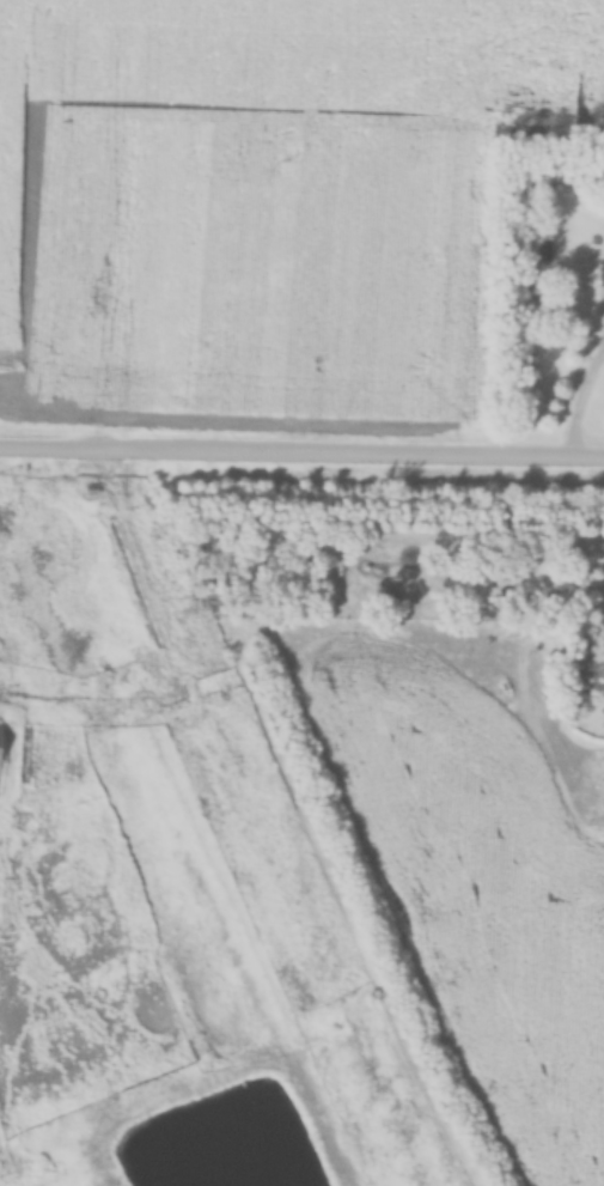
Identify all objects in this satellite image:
road: (575, 403)
road: (301, 451)
building: (603, 624)
building: (1, 749)
building: (598, 777)

